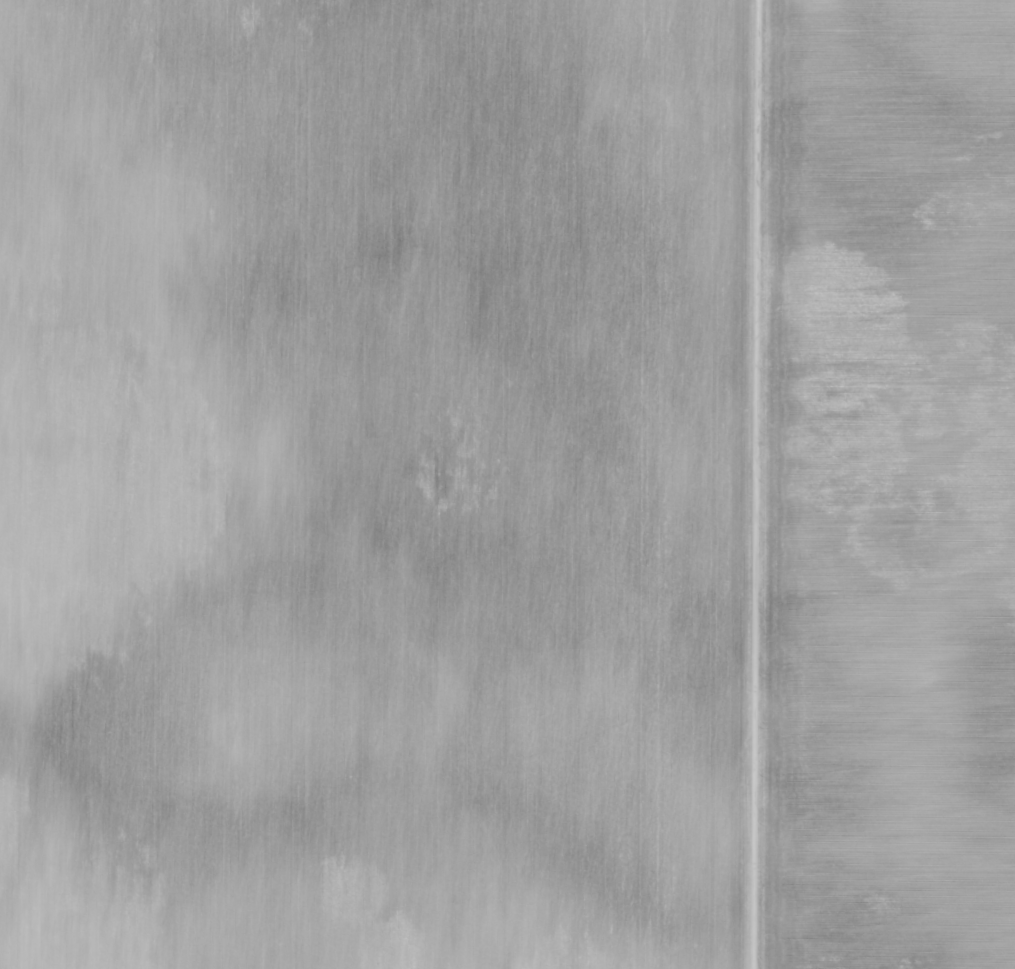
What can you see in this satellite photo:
road: (754, 484)

